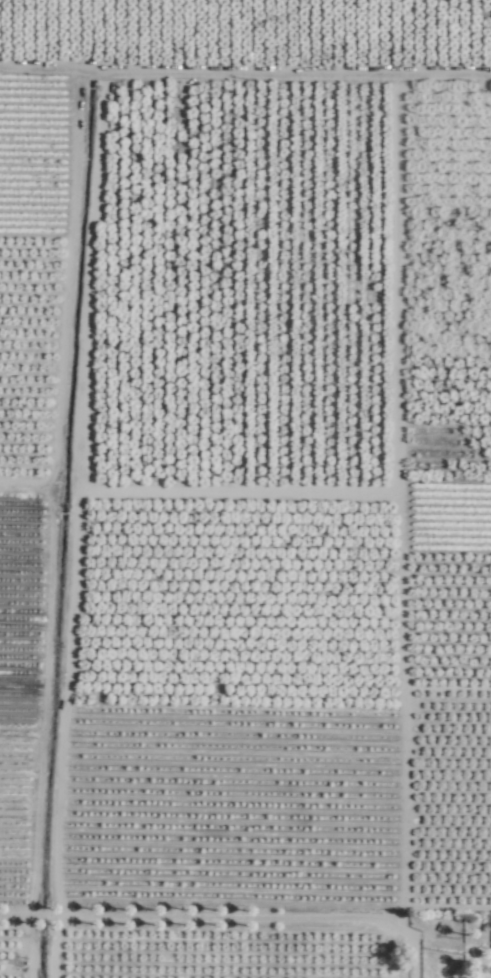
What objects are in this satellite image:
road: (199, 912)
road: (411, 940)

